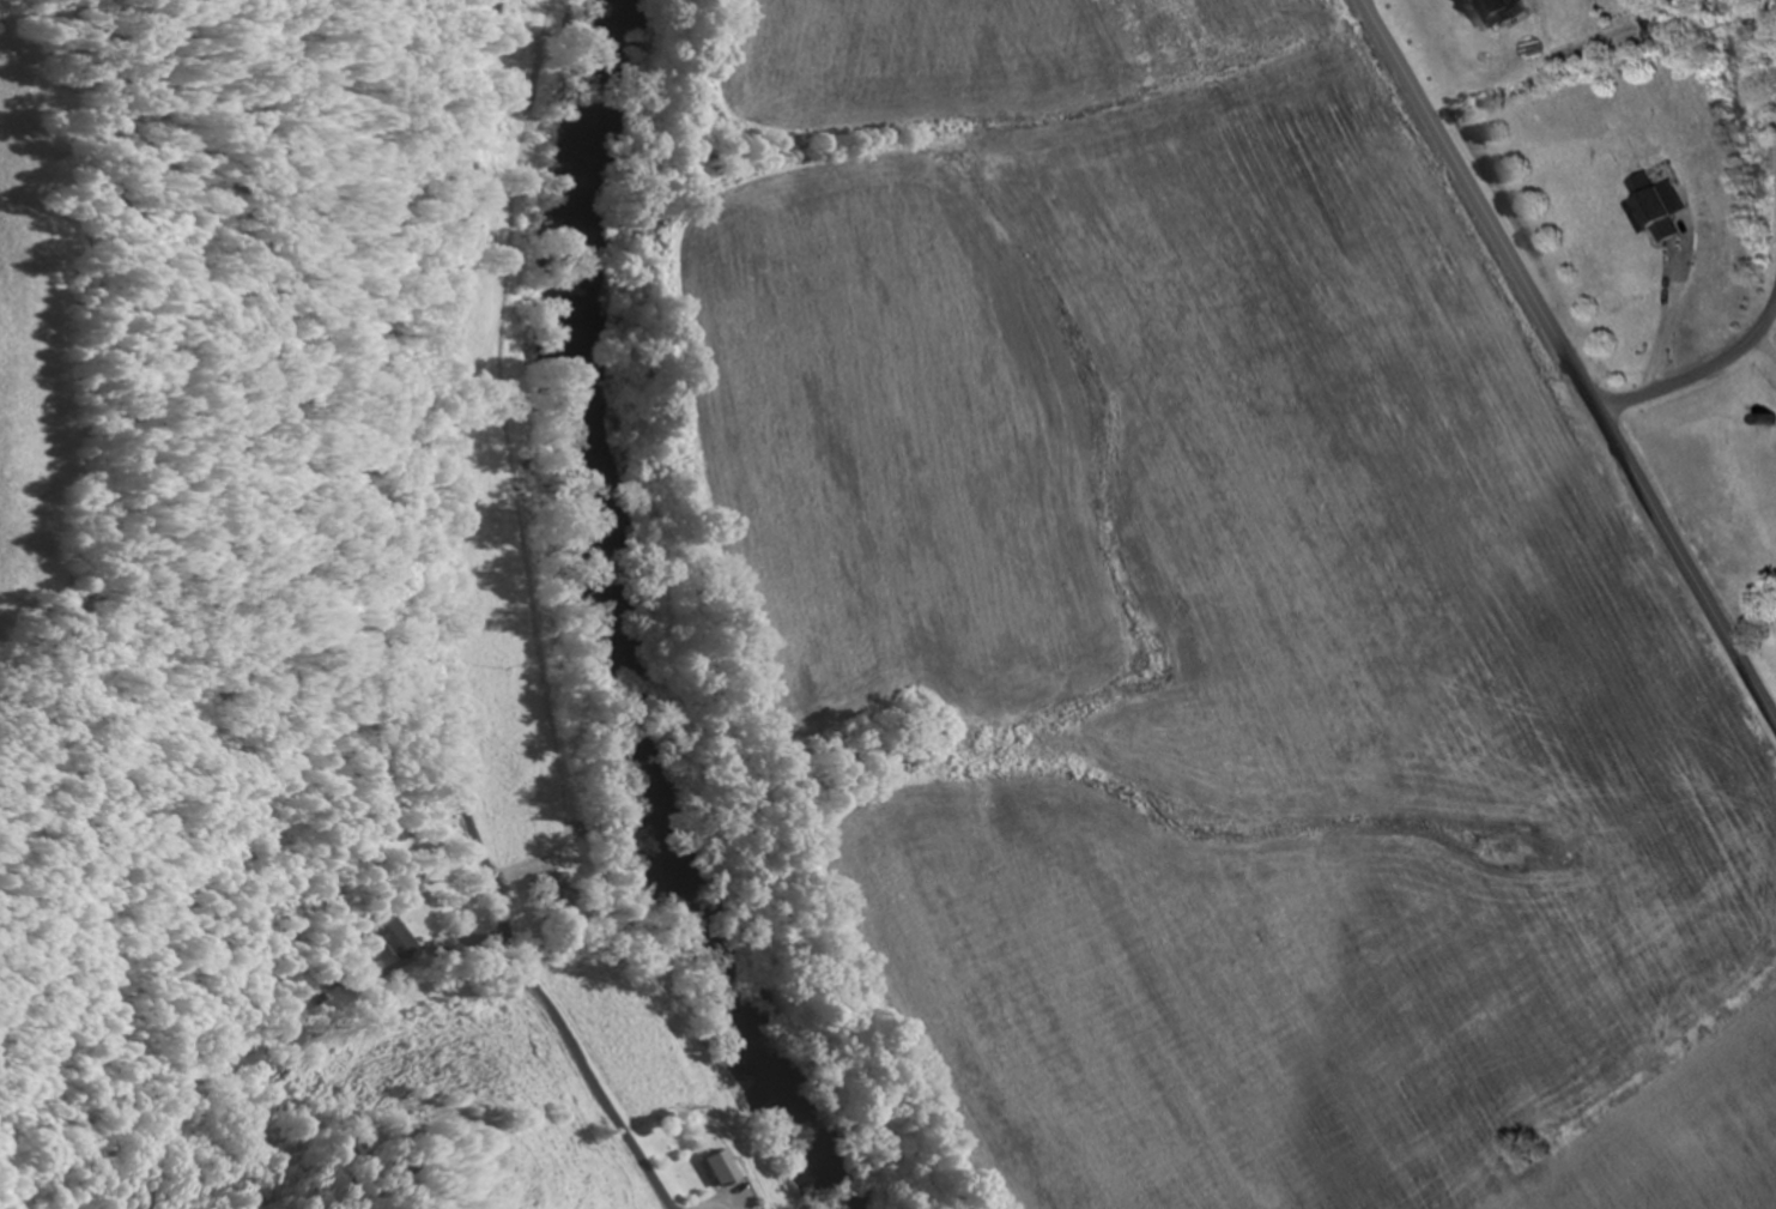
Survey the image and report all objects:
building: (1492, 13)
building: (1648, 206)
road: (1568, 361)
road: (1704, 369)
road: (425, 628)
river: (588, 633)
building: (396, 955)
building: (719, 1171)

